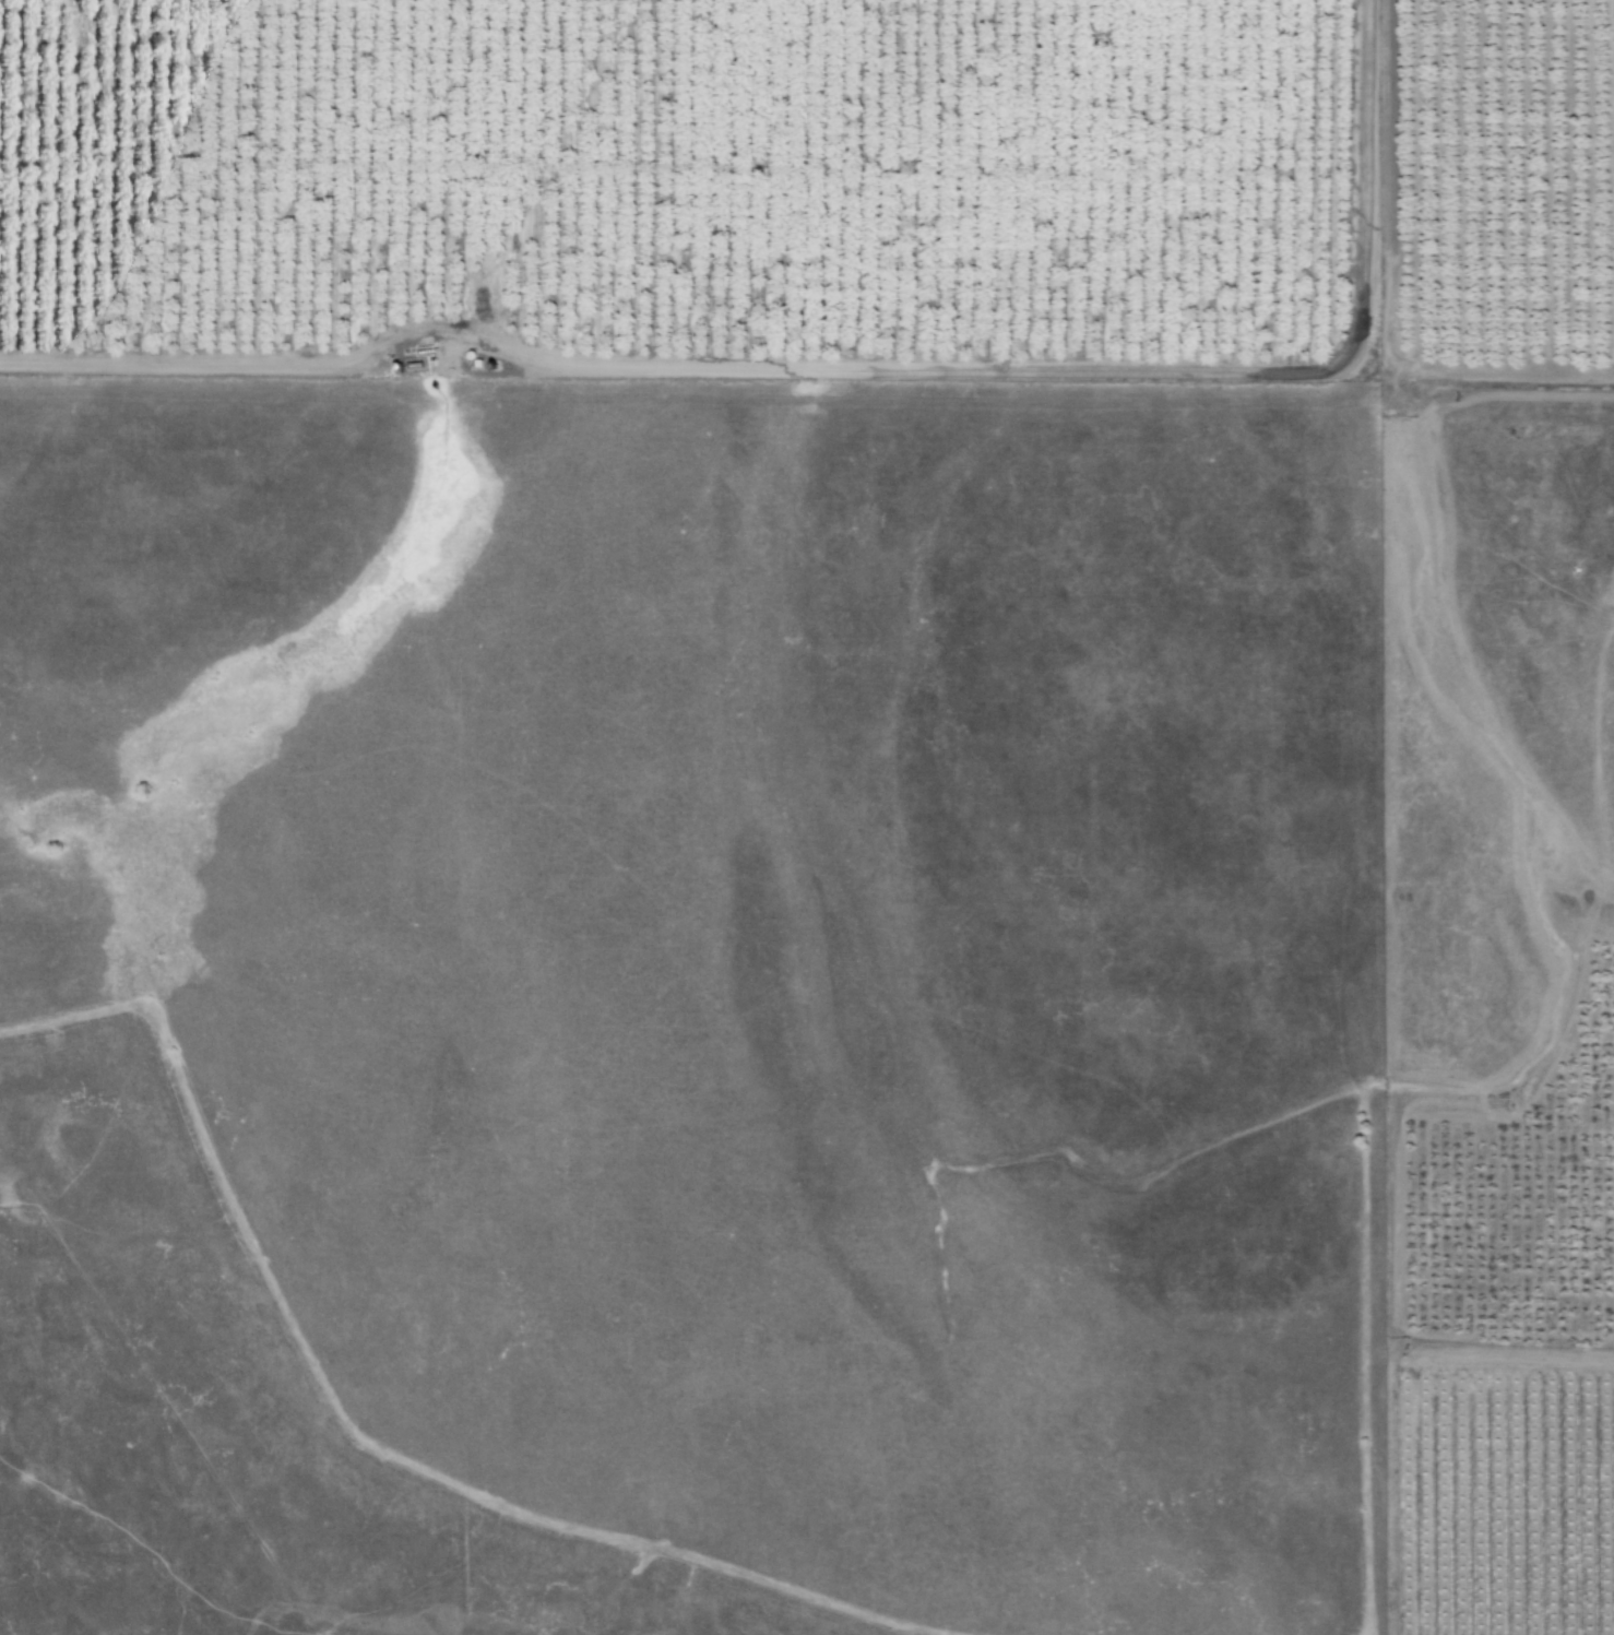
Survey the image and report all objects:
road: (845, 371)

